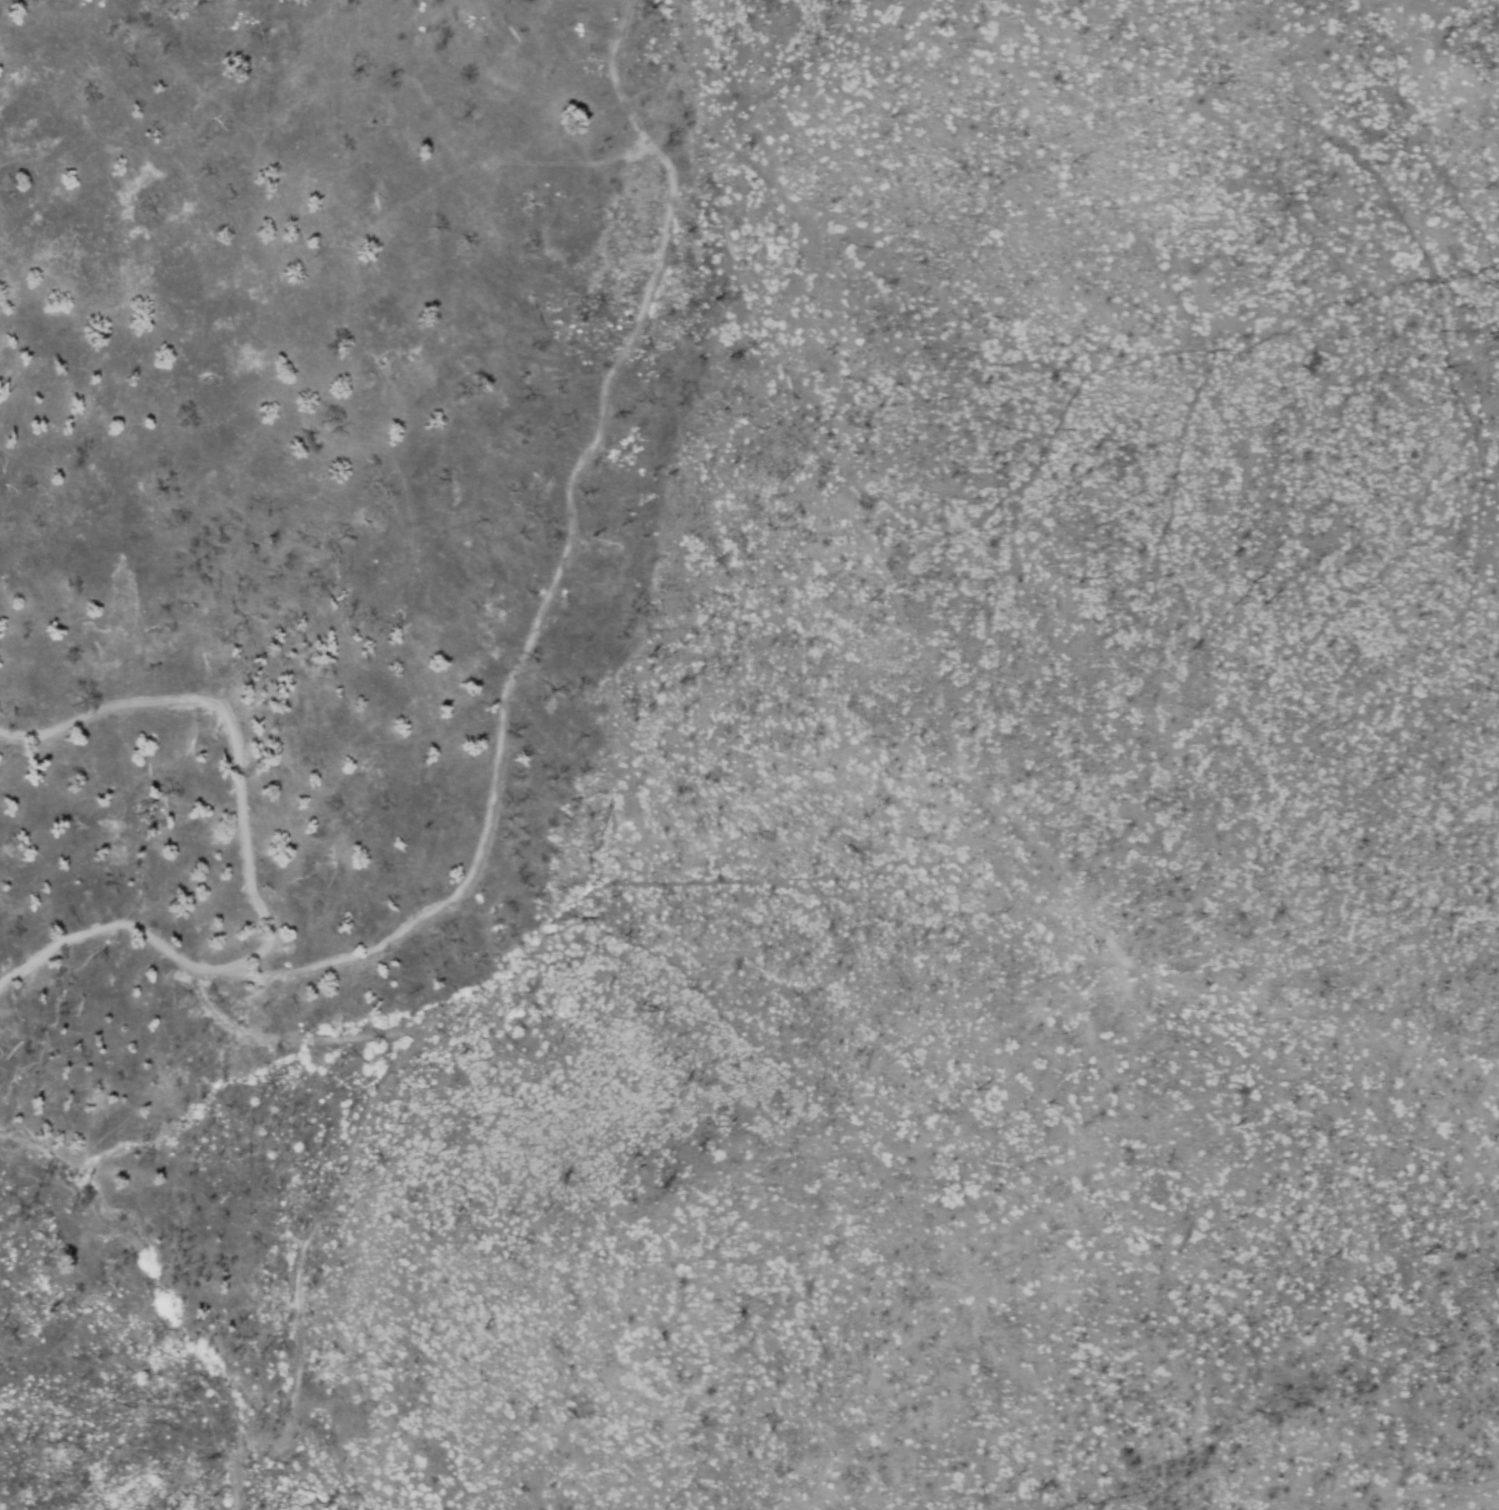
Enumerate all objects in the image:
road: (1003, 807)
road: (246, 869)
road: (1357, 1220)
road: (1440, 1491)

